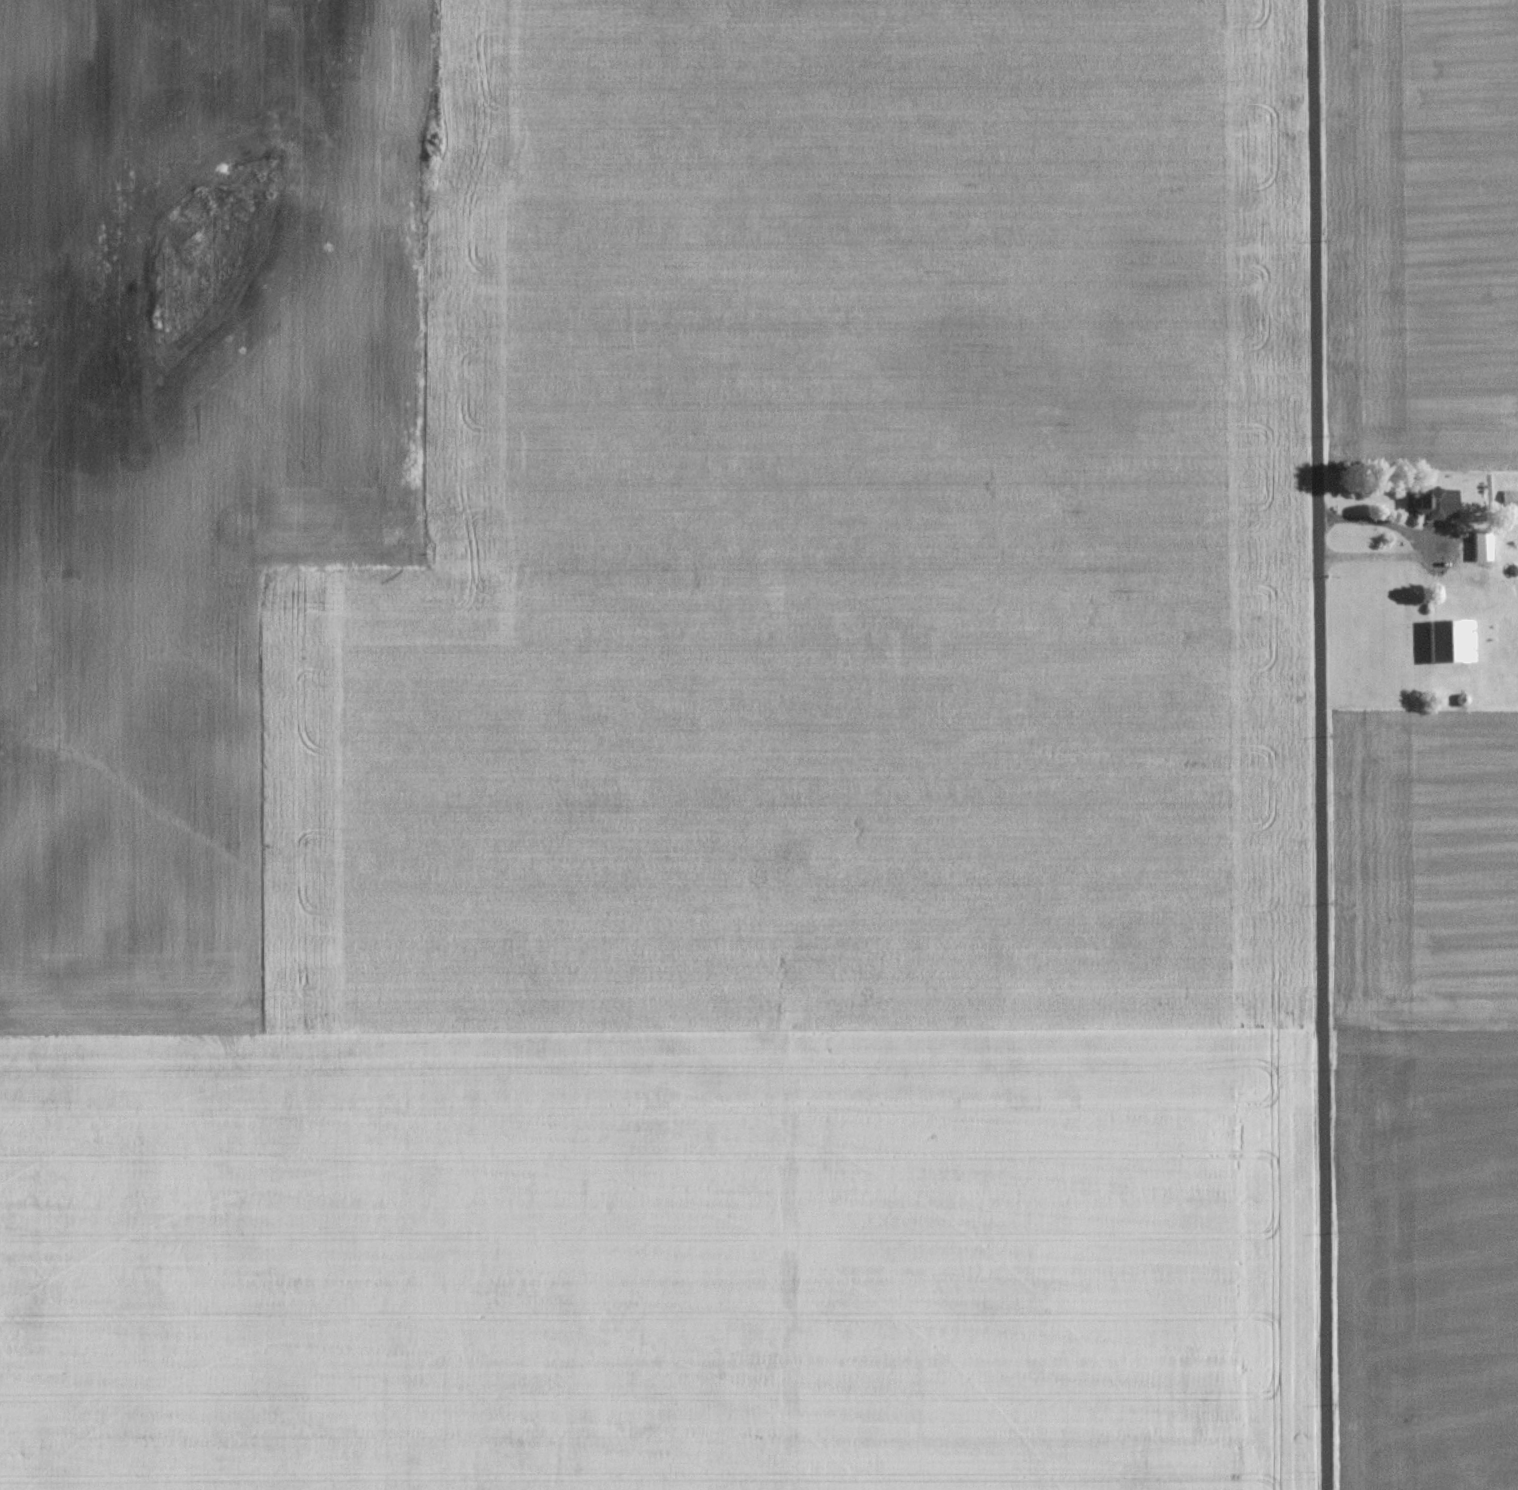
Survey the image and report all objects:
building: (1508, 498)
building: (1432, 502)
road: (1414, 538)
building: (1479, 546)
building: (1448, 641)
road: (1324, 744)
crop: (651, 746)

